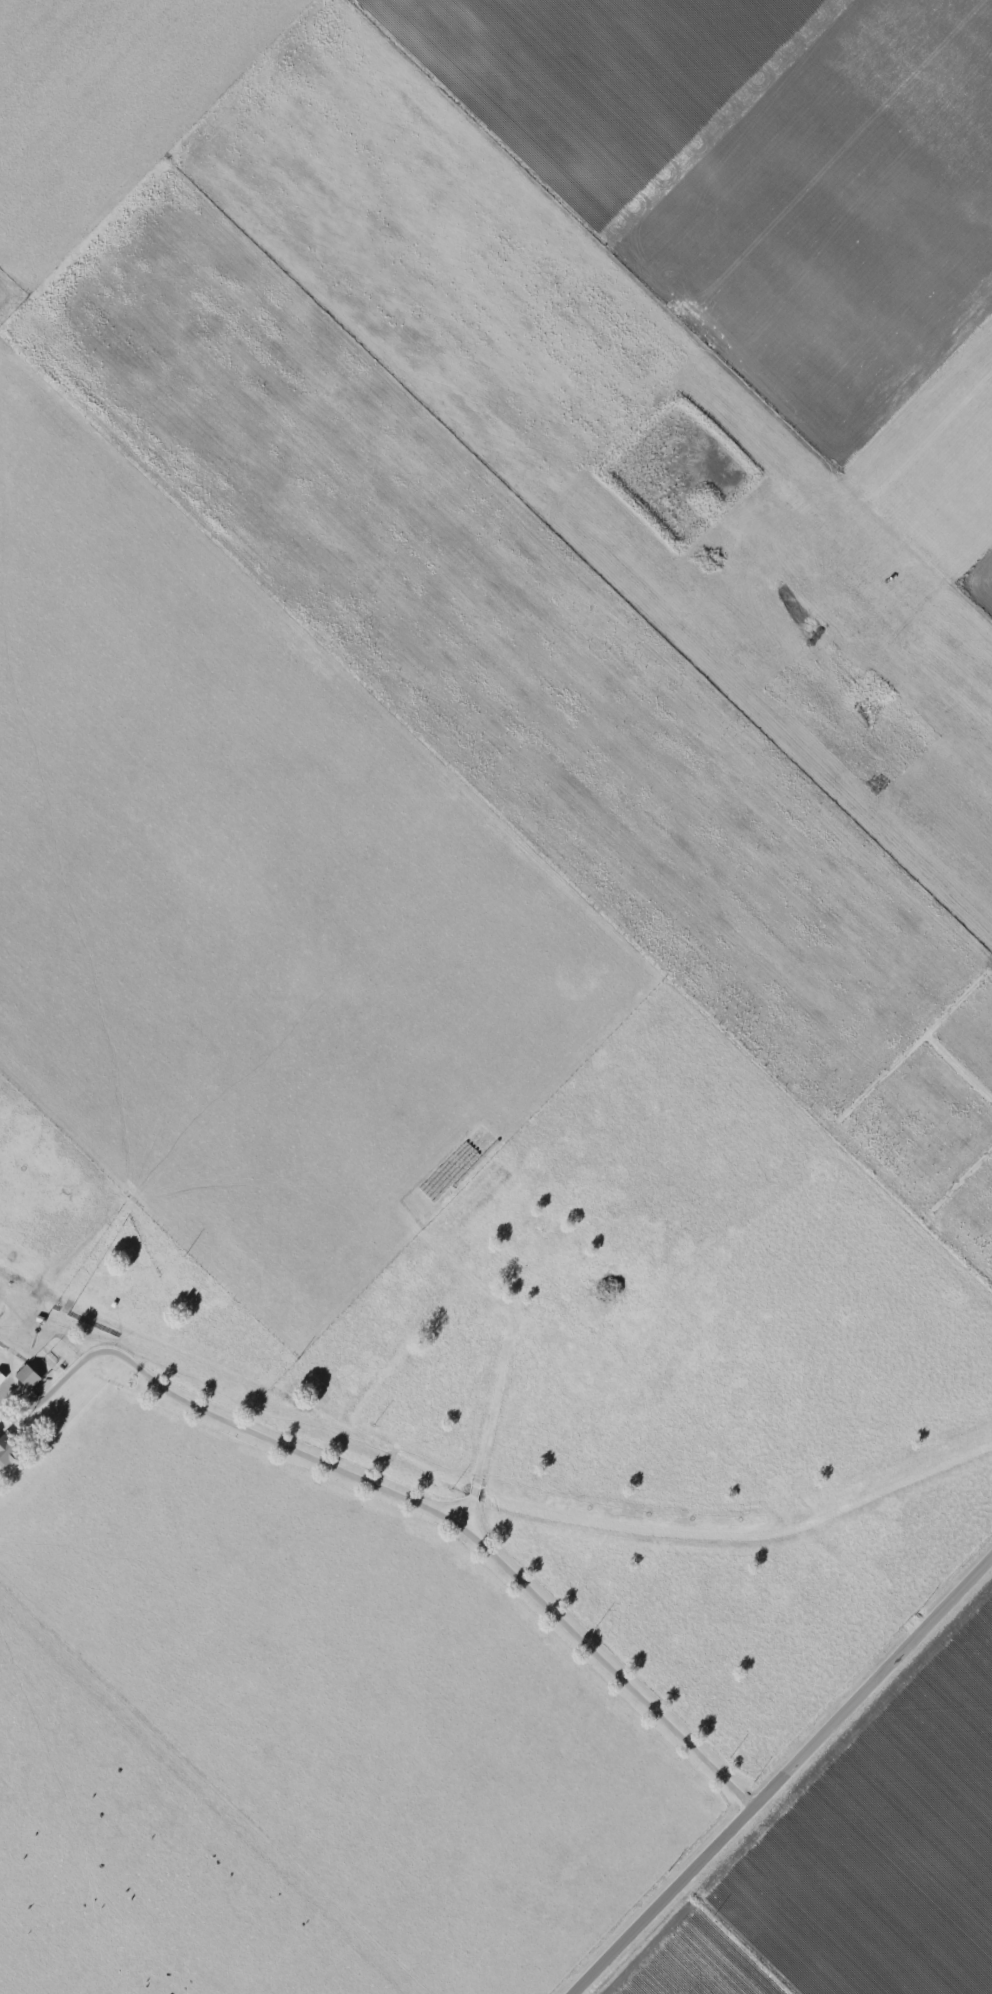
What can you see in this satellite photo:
road: (163, 169)
building: (26, 1376)
building: (1, 1377)
building: (7, 1450)
road: (421, 1508)
road: (782, 1775)
road: (731, 1940)

